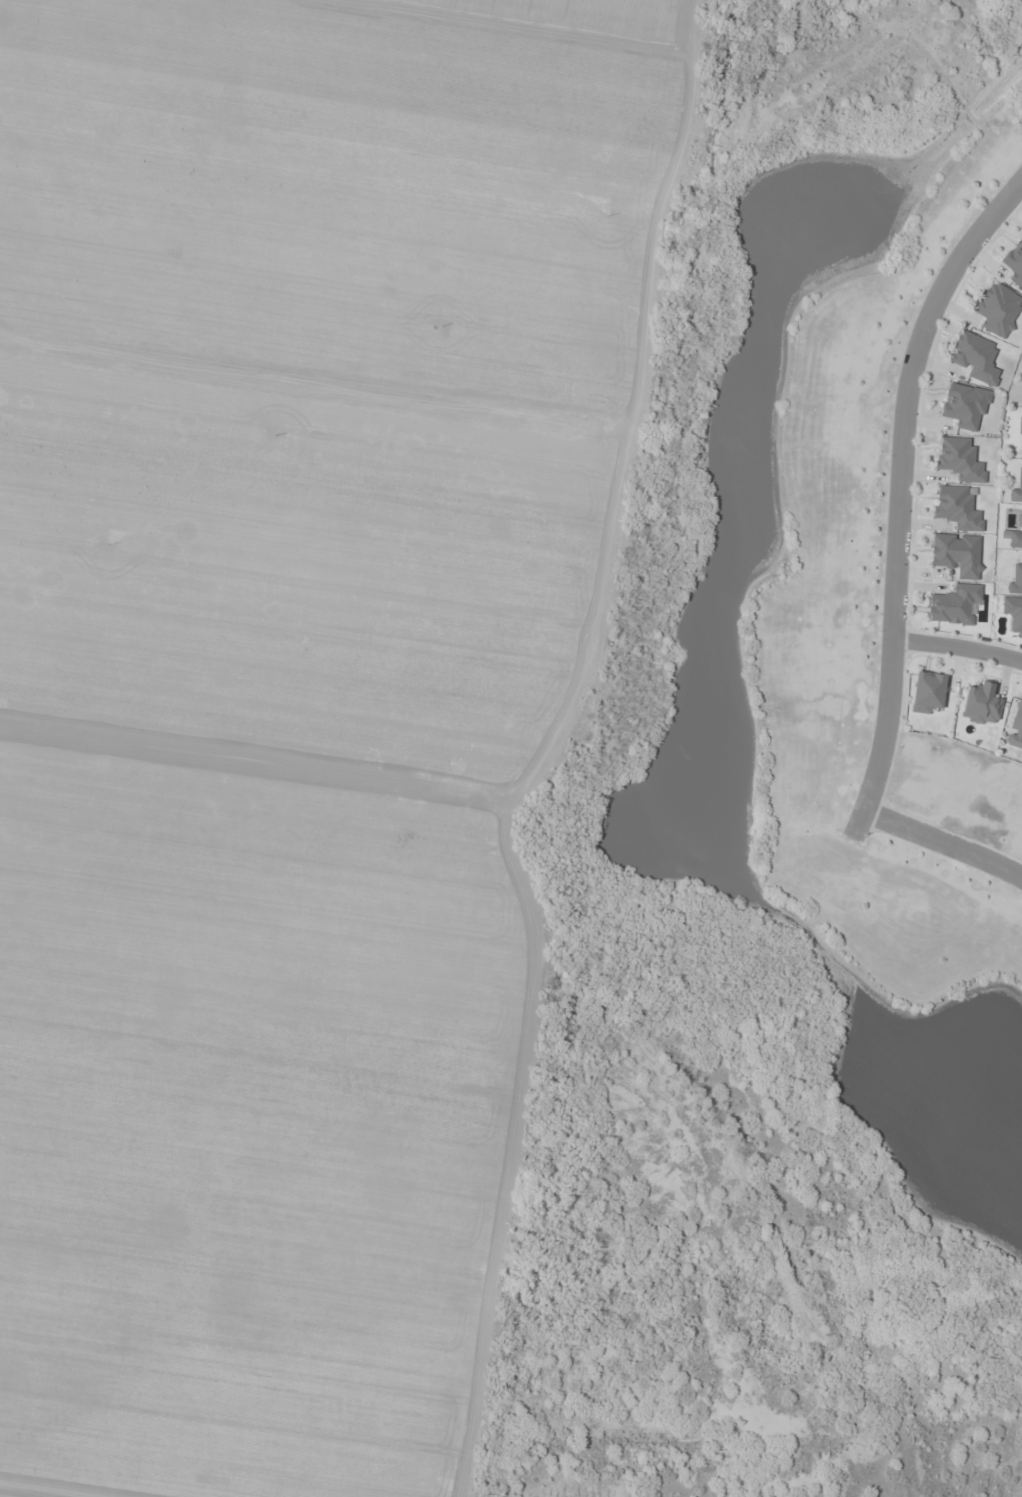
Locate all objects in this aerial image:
building: (1014, 263)
building: (996, 308)
building: (975, 357)
building: (963, 405)
building: (1020, 425)
building: (1020, 451)
building: (958, 459)
road: (899, 478)
building: (1016, 489)
building: (955, 508)
building: (1014, 534)
building: (956, 554)
building: (1016, 576)
building: (953, 605)
building: (1013, 615)
road: (958, 645)
building: (927, 691)
building: (981, 704)
building: (1015, 725)
road: (856, 822)
road: (942, 844)

